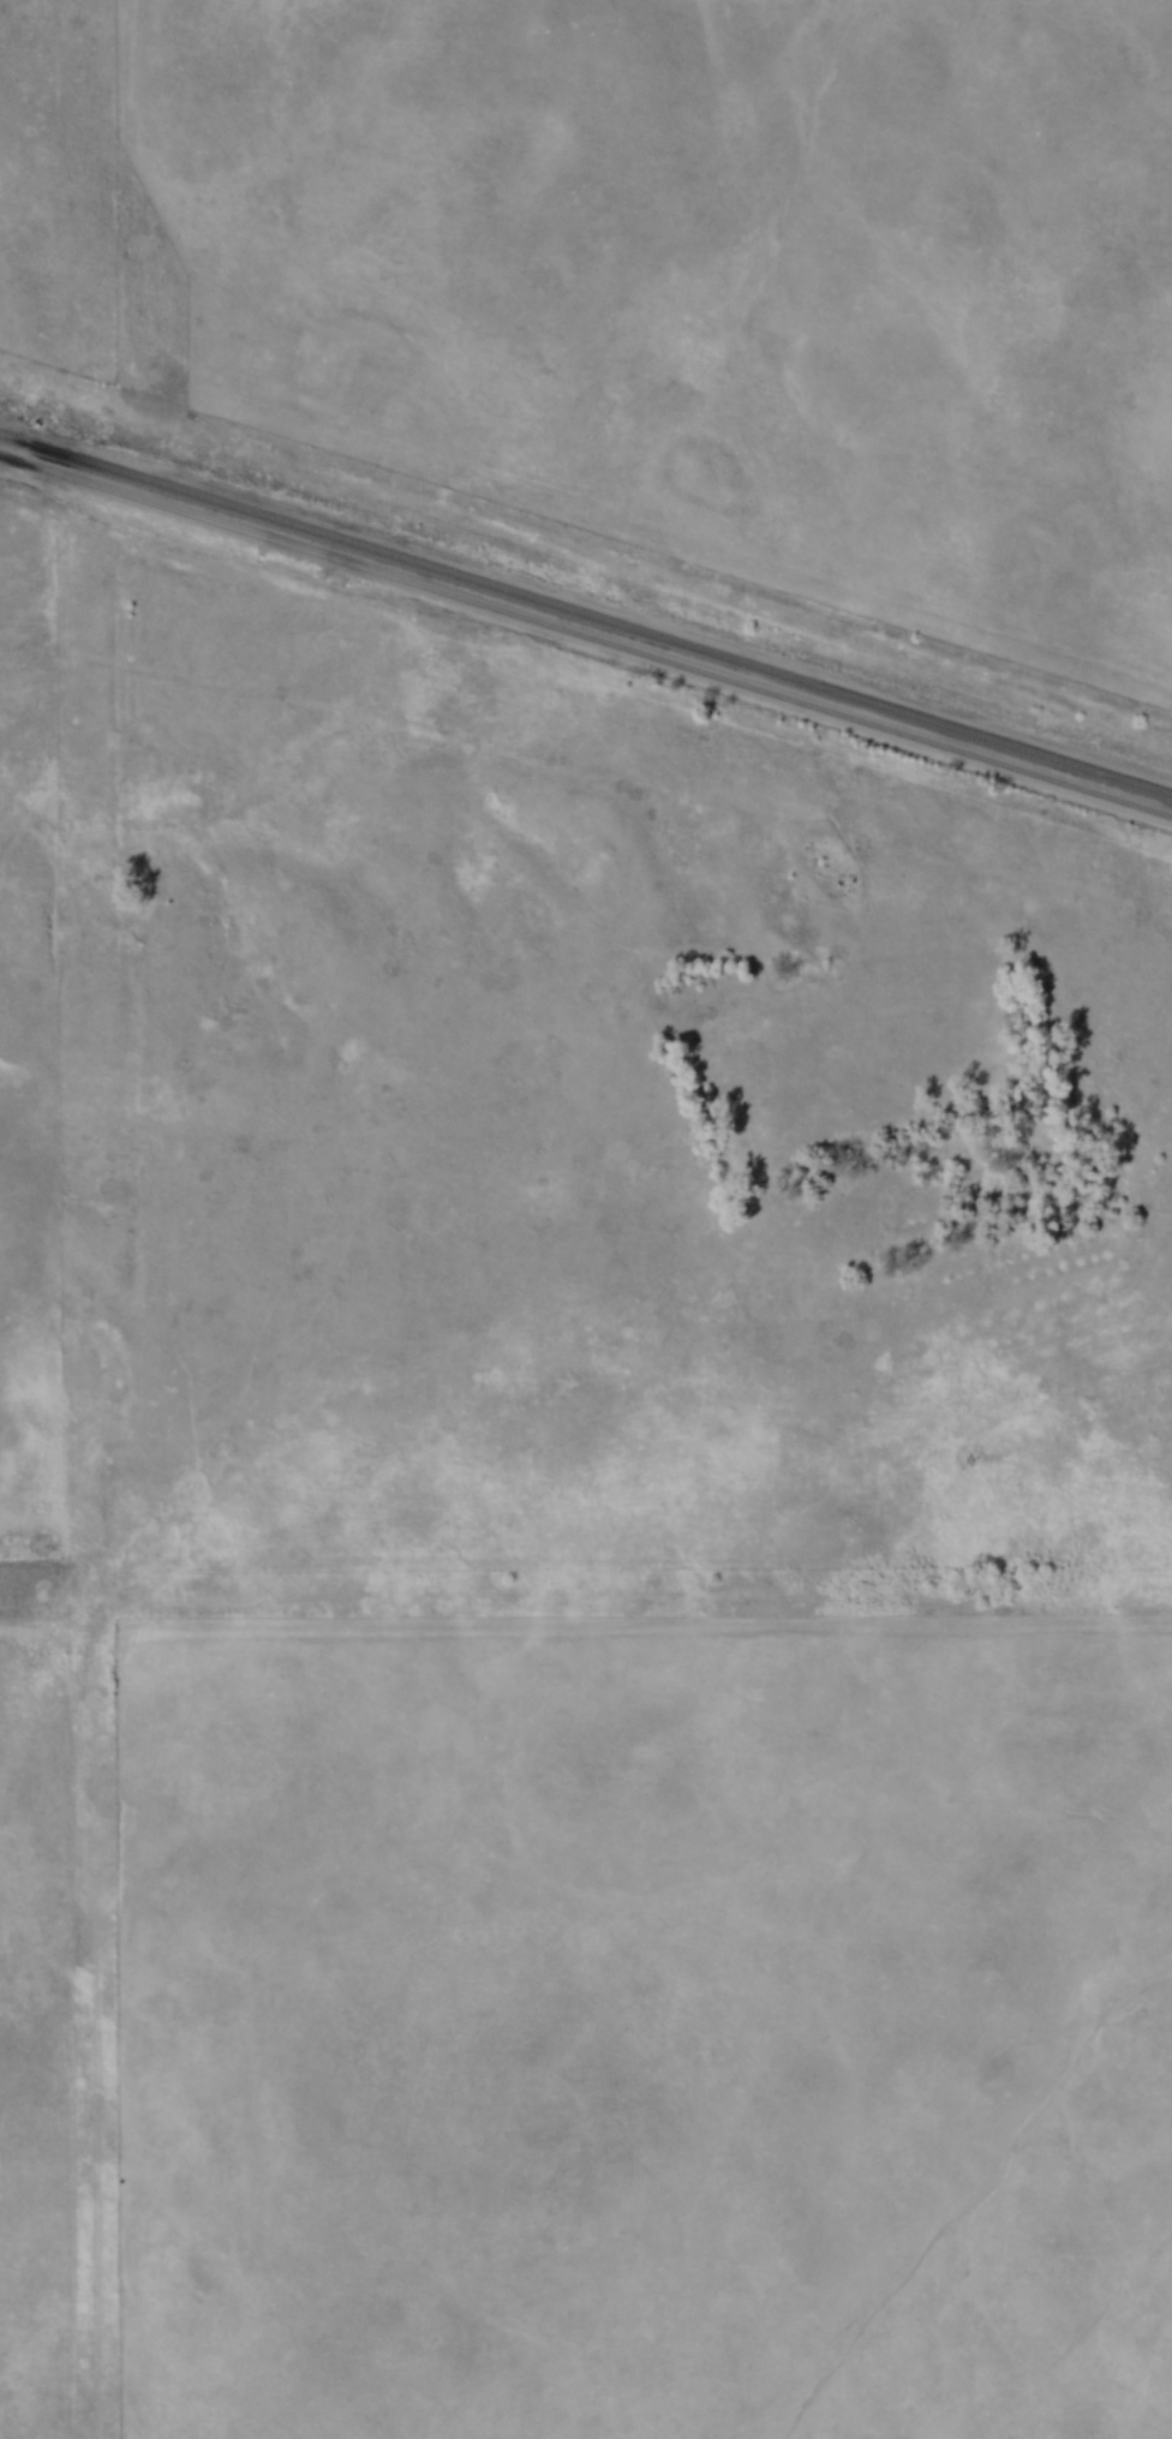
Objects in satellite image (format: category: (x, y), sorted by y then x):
railway: (587, 604)
railway: (586, 630)

